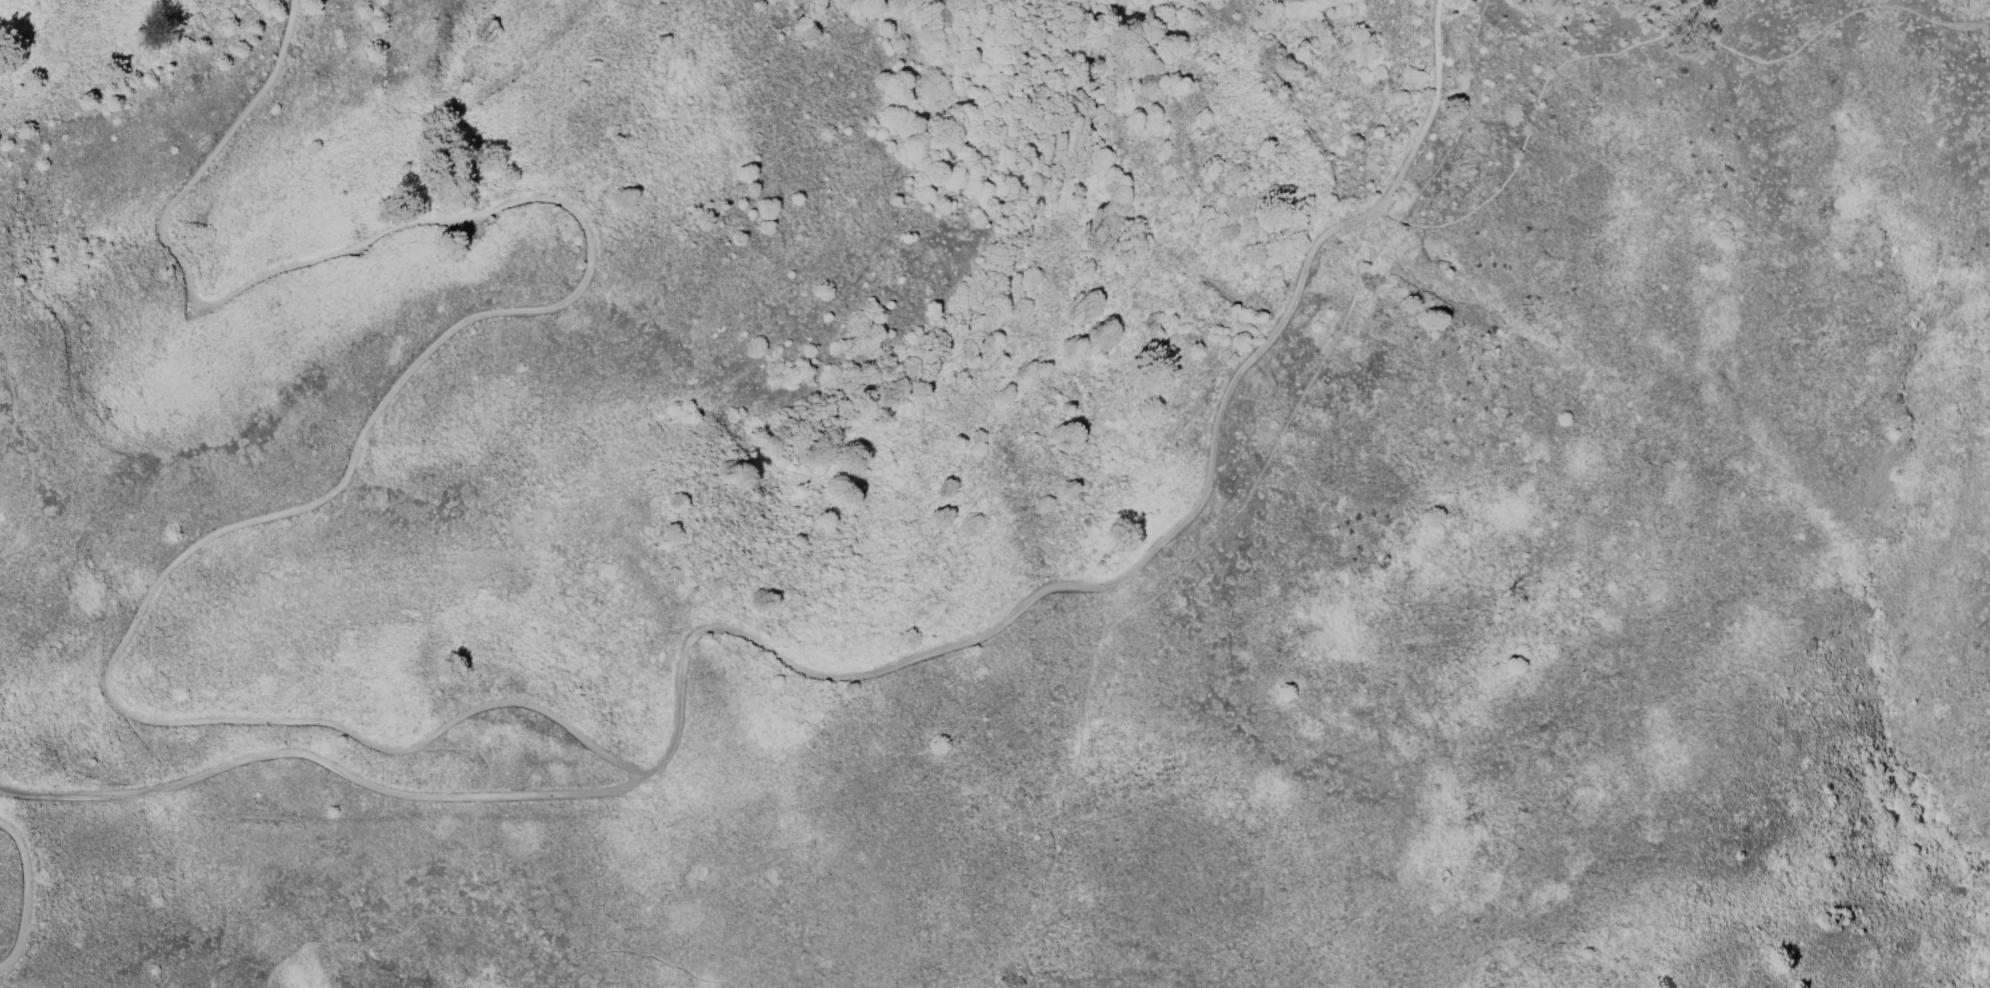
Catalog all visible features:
road: (1649, 39)
road: (1434, 113)
road: (403, 376)
road: (28, 456)
road: (1052, 596)
road: (1230, 604)
road: (1139, 608)
road: (322, 761)
road: (475, 821)
road: (26, 894)
road: (490, 916)
road: (367, 956)

